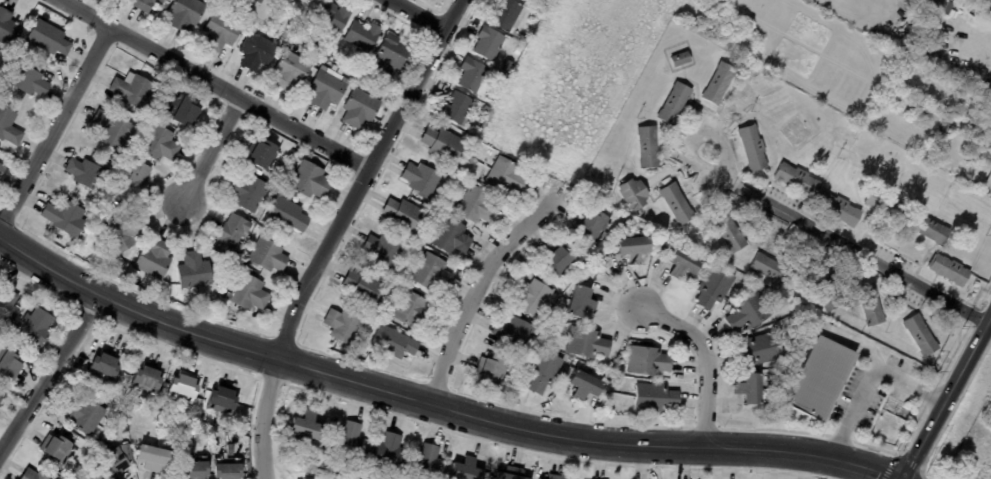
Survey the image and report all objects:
building: (276, 0)
building: (258, 1)
building: (988, 1)
building: (145, 3)
building: (301, 5)
building: (939, 5)
building: (541, 8)
building: (183, 14)
road: (417, 14)
building: (504, 15)
building: (331, 17)
building: (273, 22)
building: (6, 28)
building: (219, 31)
building: (270, 31)
building: (362, 36)
building: (46, 38)
building: (488, 43)
building: (255, 51)
building: (391, 51)
building: (517, 51)
building: (918, 58)
building: (679, 59)
building: (290, 71)
building: (353, 75)
building: (471, 75)
building: (23, 79)
building: (718, 83)
road: (214, 85)
building: (325, 90)
building: (957, 90)
building: (130, 91)
building: (673, 103)
building: (359, 108)
building: (455, 108)
building: (180, 110)
building: (485, 110)
road: (54, 125)
building: (8, 128)
building: (111, 129)
building: (947, 129)
building: (156, 143)
building: (441, 144)
building: (647, 147)
building: (979, 147)
building: (752, 148)
road: (210, 150)
building: (261, 154)
building: (1, 168)
building: (85, 174)
building: (505, 176)
building: (131, 179)
building: (420, 179)
building: (308, 180)
building: (796, 180)
building: (986, 186)
building: (246, 192)
building: (632, 194)
building: (675, 204)
building: (475, 205)
building: (887, 206)
building: (837, 209)
building: (285, 215)
building: (403, 216)
building: (63, 217)
building: (593, 226)
building: (927, 229)
road: (333, 230)
building: (727, 232)
building: (120, 233)
road: (844, 233)
building: (229, 236)
building: (450, 236)
building: (631, 247)
building: (381, 251)
building: (265, 255)
building: (702, 258)
building: (152, 259)
building: (600, 259)
building: (559, 261)
building: (680, 263)
building: (772, 270)
building: (948, 270)
building: (195, 271)
building: (430, 273)
road: (477, 285)
building: (712, 287)
building: (363, 288)
building: (247, 294)
building: (827, 294)
building: (530, 297)
building: (579, 303)
building: (869, 304)
building: (6, 307)
building: (412, 312)
building: (747, 313)
building: (342, 325)
building: (33, 329)
building: (510, 334)
building: (920, 336)
building: (392, 342)
building: (585, 344)
building: (759, 350)
building: (646, 361)
road: (704, 361)
building: (8, 365)
building: (102, 365)
building: (490, 371)
road: (49, 372)
building: (542, 372)
road: (868, 376)
building: (144, 377)
building: (818, 380)
building: (582, 386)
building: (182, 388)
building: (747, 390)
building: (1, 394)
building: (222, 398)
building: (0, 399)
building: (653, 399)
road: (945, 399)
building: (111, 403)
building: (149, 404)
building: (612, 405)
road: (436, 406)
building: (82, 413)
building: (115, 418)
building: (306, 425)
building: (238, 428)
building: (347, 439)
building: (105, 442)
building: (54, 448)
building: (386, 450)
building: (124, 452)
building: (151, 456)
building: (241, 461)
building: (426, 462)
building: (106, 465)
building: (191, 466)
building: (225, 467)
building: (464, 468)
building: (34, 473)
building: (510, 473)
building: (554, 476)
building: (540, 478)

